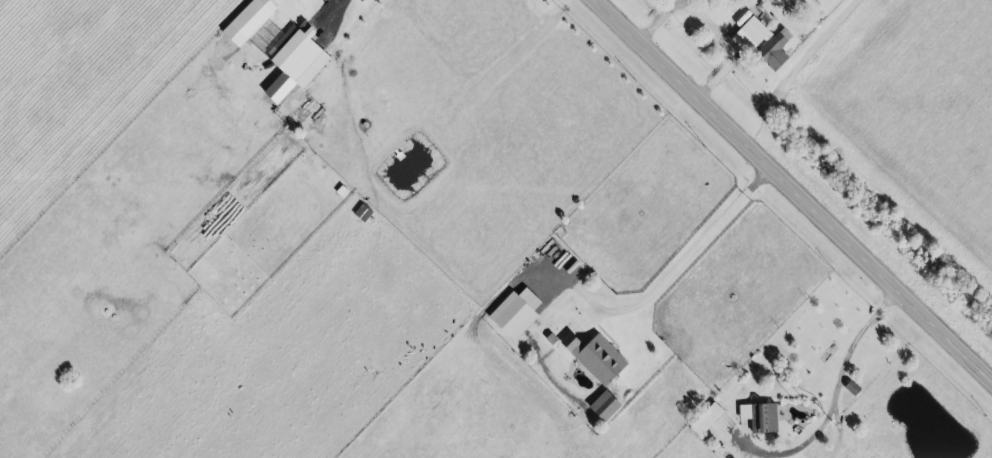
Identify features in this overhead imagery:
road: (334, 15)
building: (245, 21)
road: (710, 22)
building: (747, 35)
building: (769, 55)
building: (291, 62)
road: (795, 189)
building: (360, 212)
road: (676, 272)
building: (512, 313)
building: (591, 357)
road: (845, 371)
building: (755, 418)
building: (703, 419)

